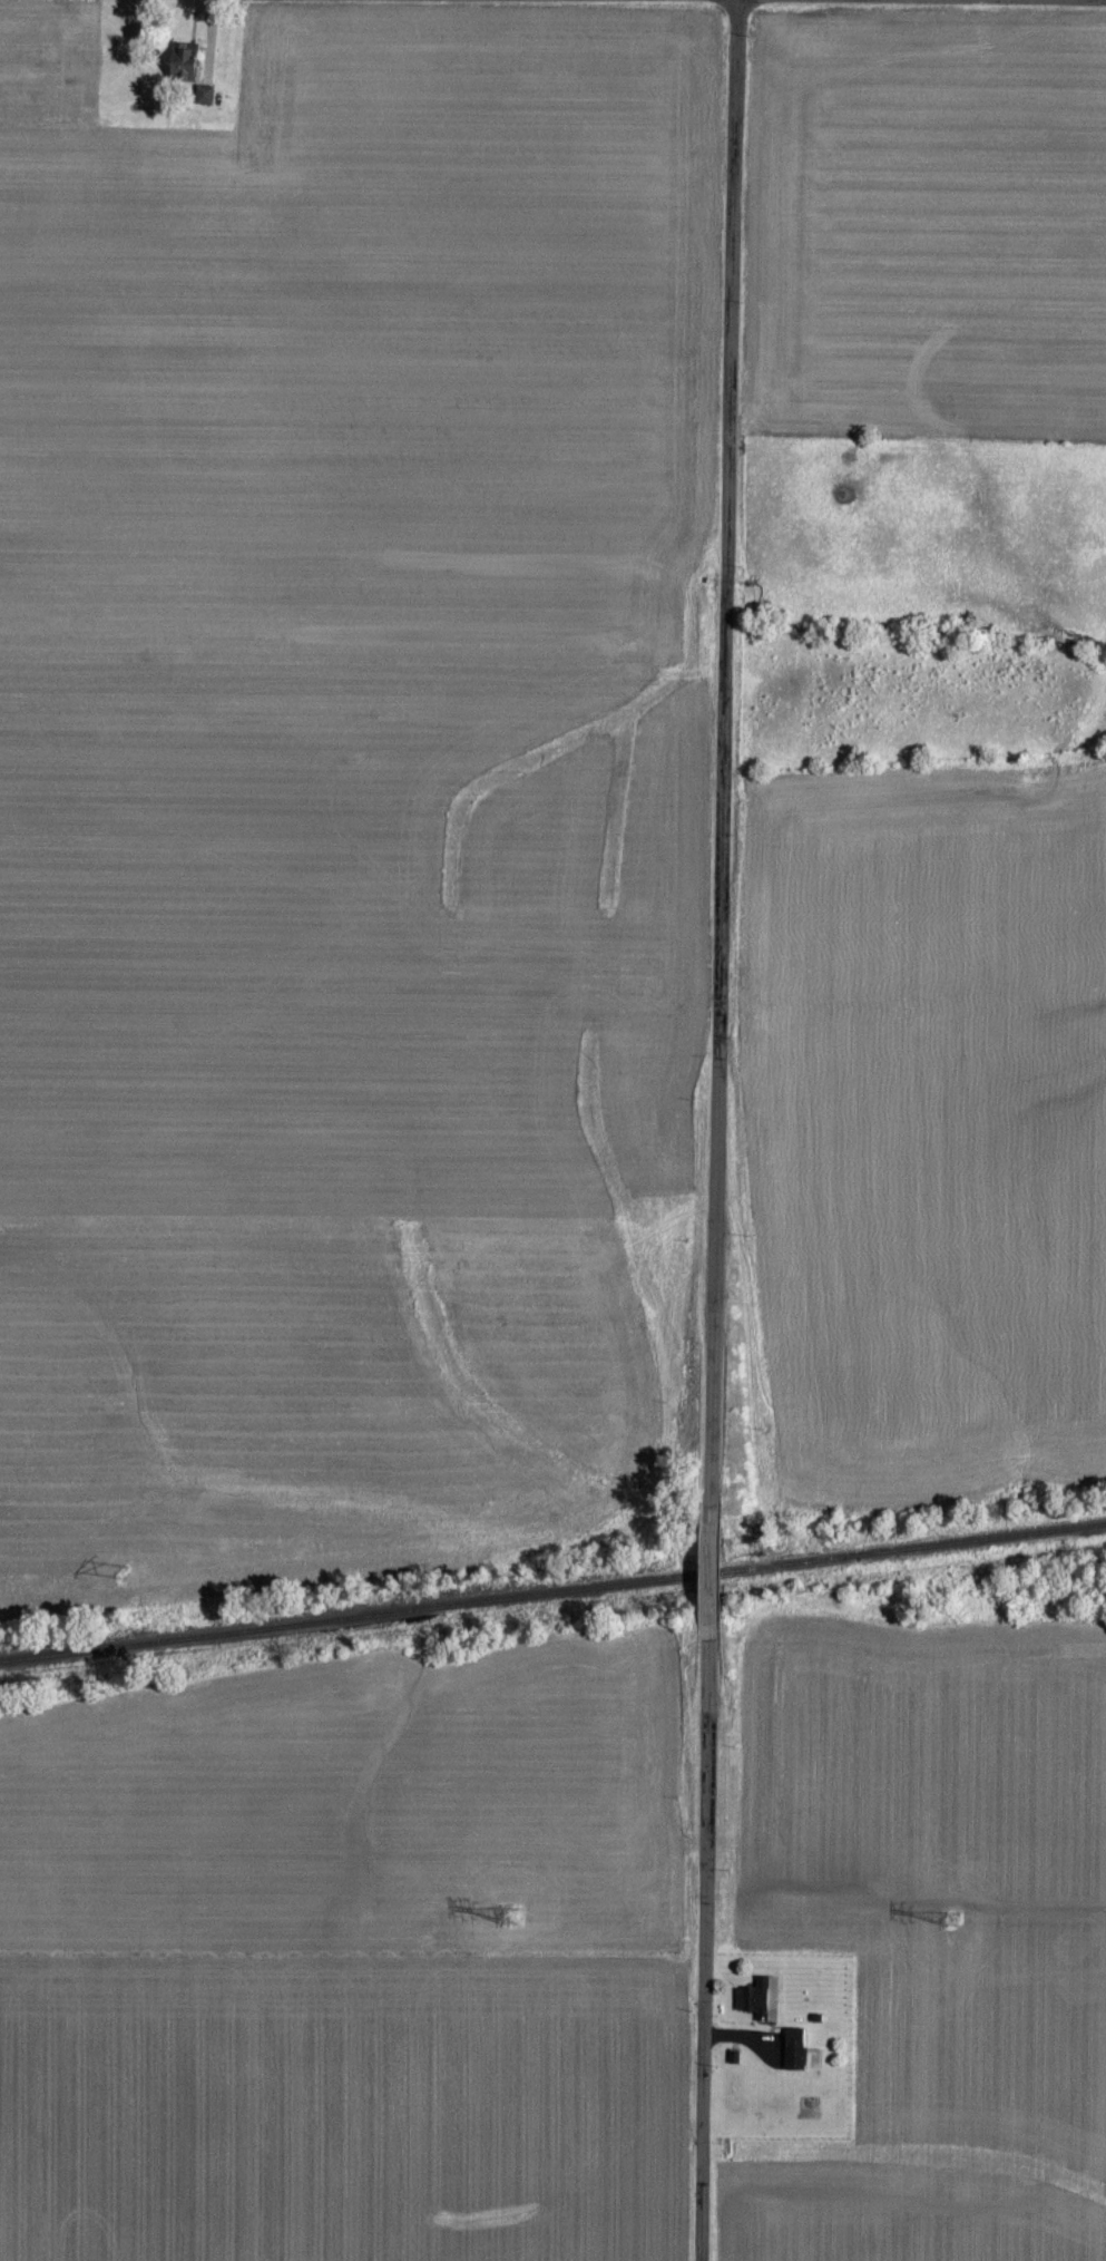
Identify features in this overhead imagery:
building: (183, 55)
building: (203, 94)
road: (732, 761)
power tower: (128, 1568)
road: (715, 1581)
railway: (552, 1591)
power tower: (511, 1914)
power tower: (953, 1919)
road: (708, 1950)
building: (760, 1998)
building: (794, 2048)
building: (813, 2057)

